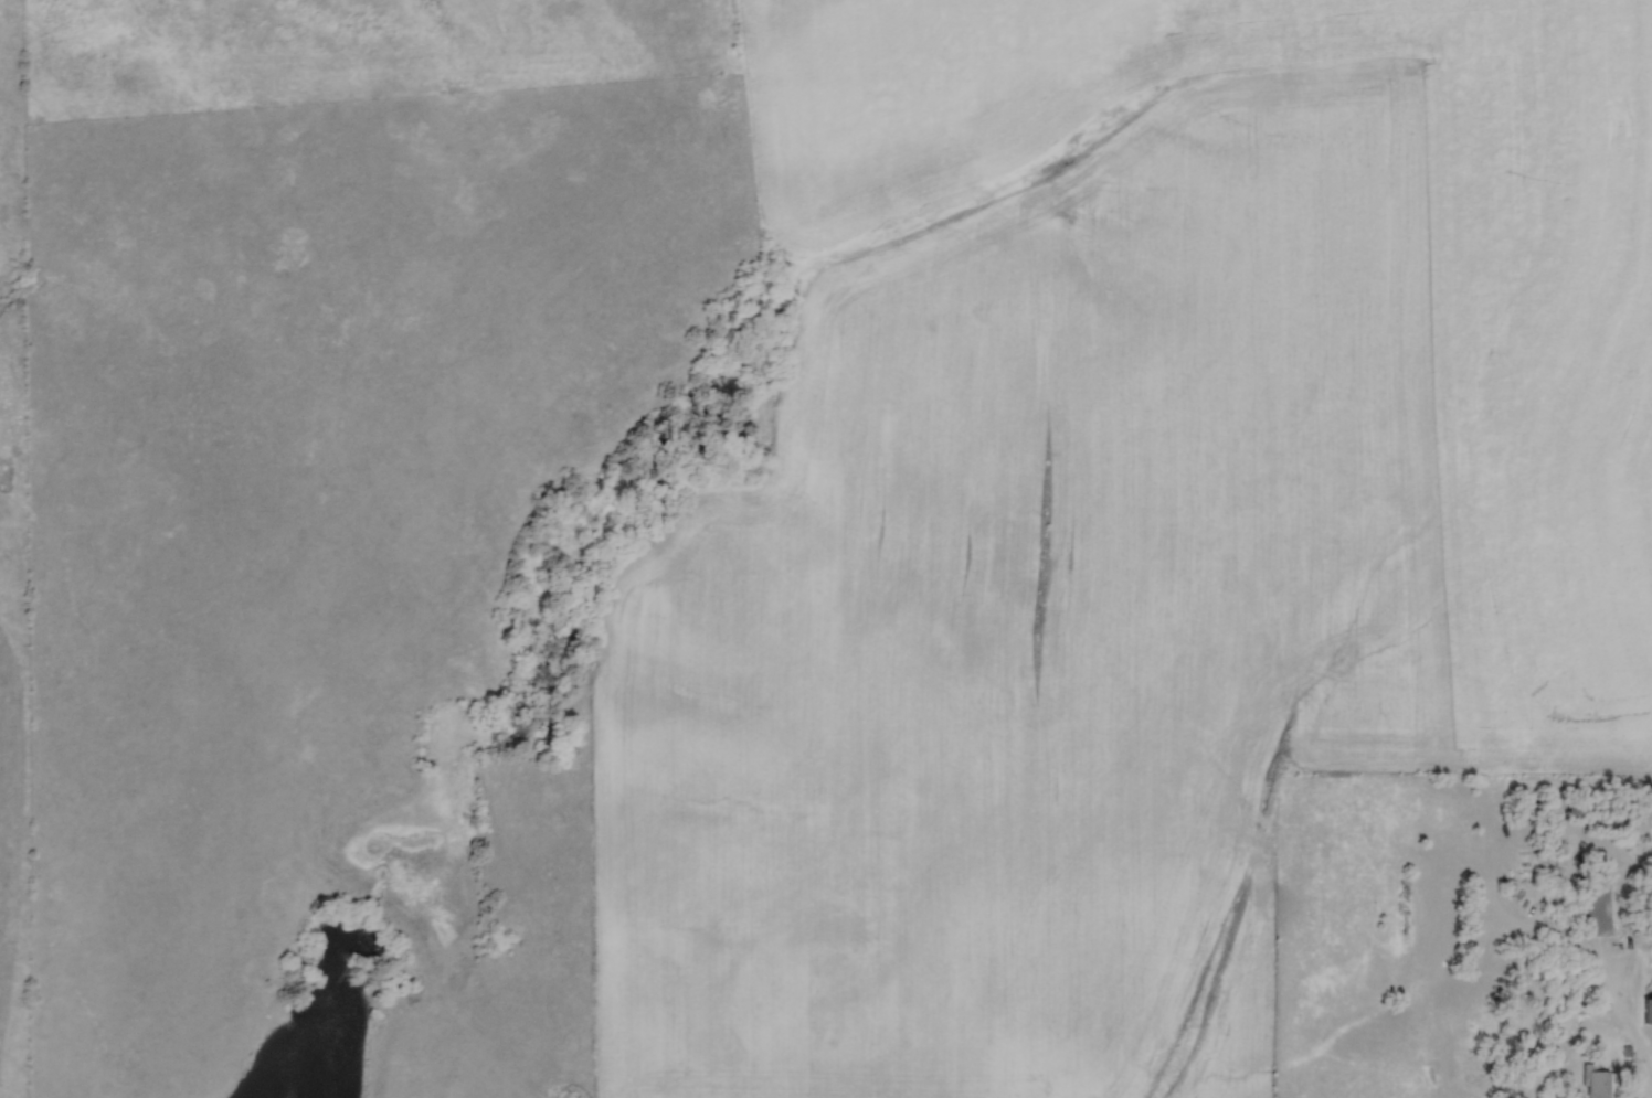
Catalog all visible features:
building: (1574, 812)
building: (1591, 910)
building: (1648, 1014)
road: (1627, 1021)
building: (1598, 1084)

